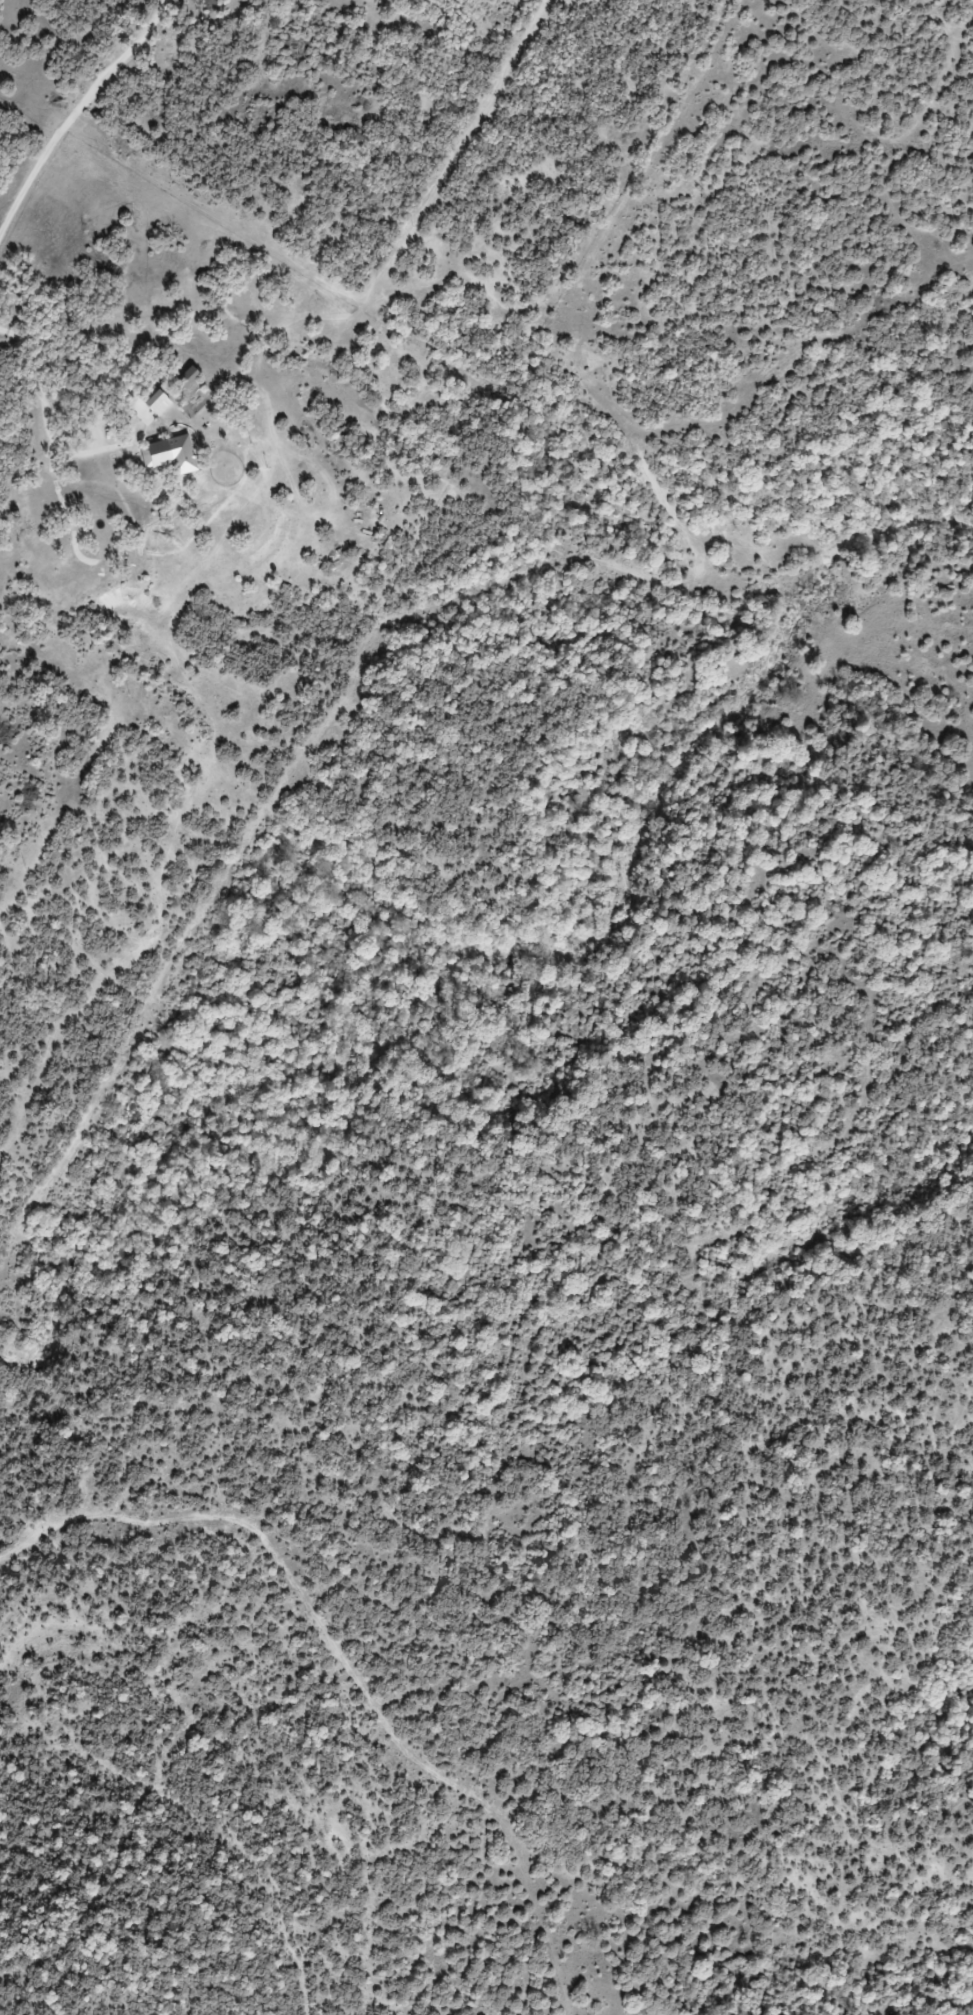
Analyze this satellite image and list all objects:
road: (77, 111)
building: (145, 407)
building: (147, 461)

